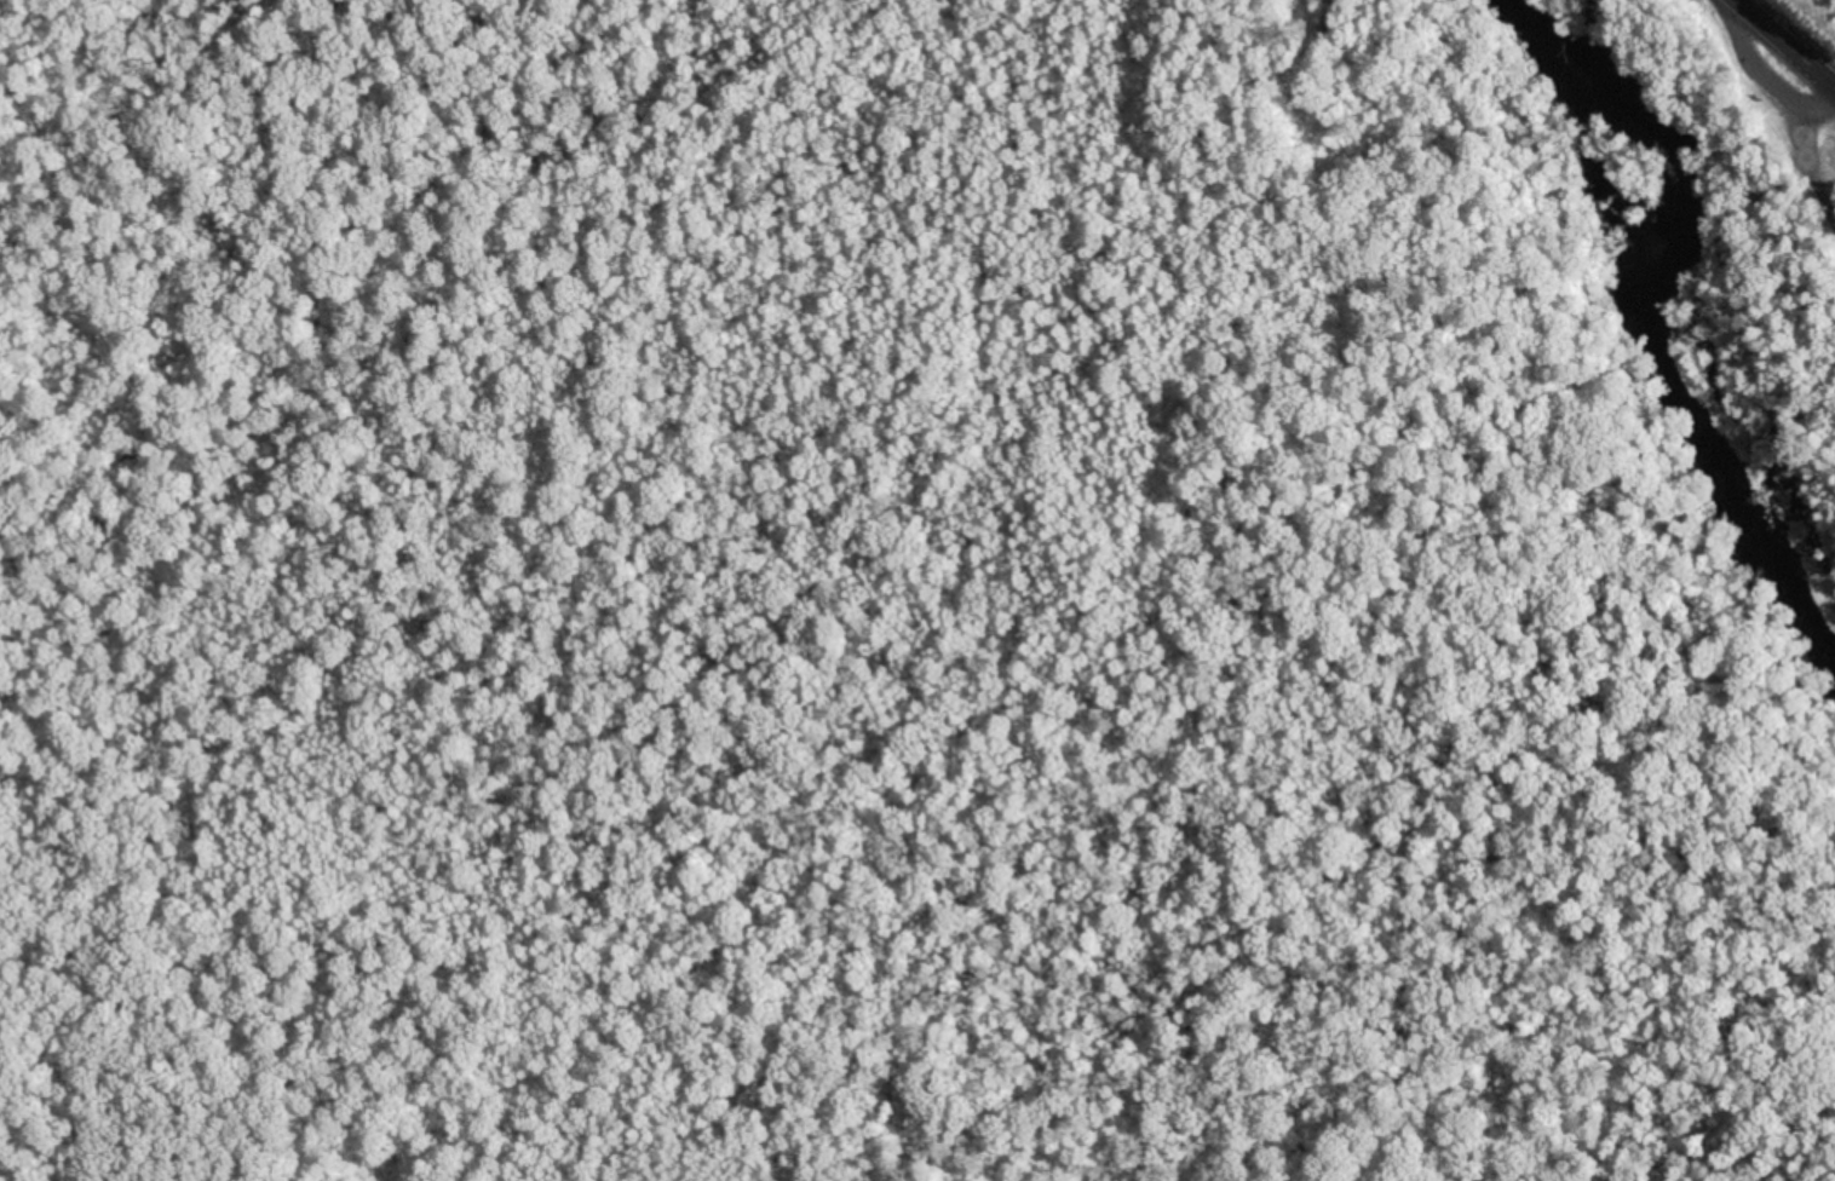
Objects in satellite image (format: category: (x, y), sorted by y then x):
road: (1788, 42)
road: (1760, 67)
road: (1814, 144)
river: (1661, 307)

